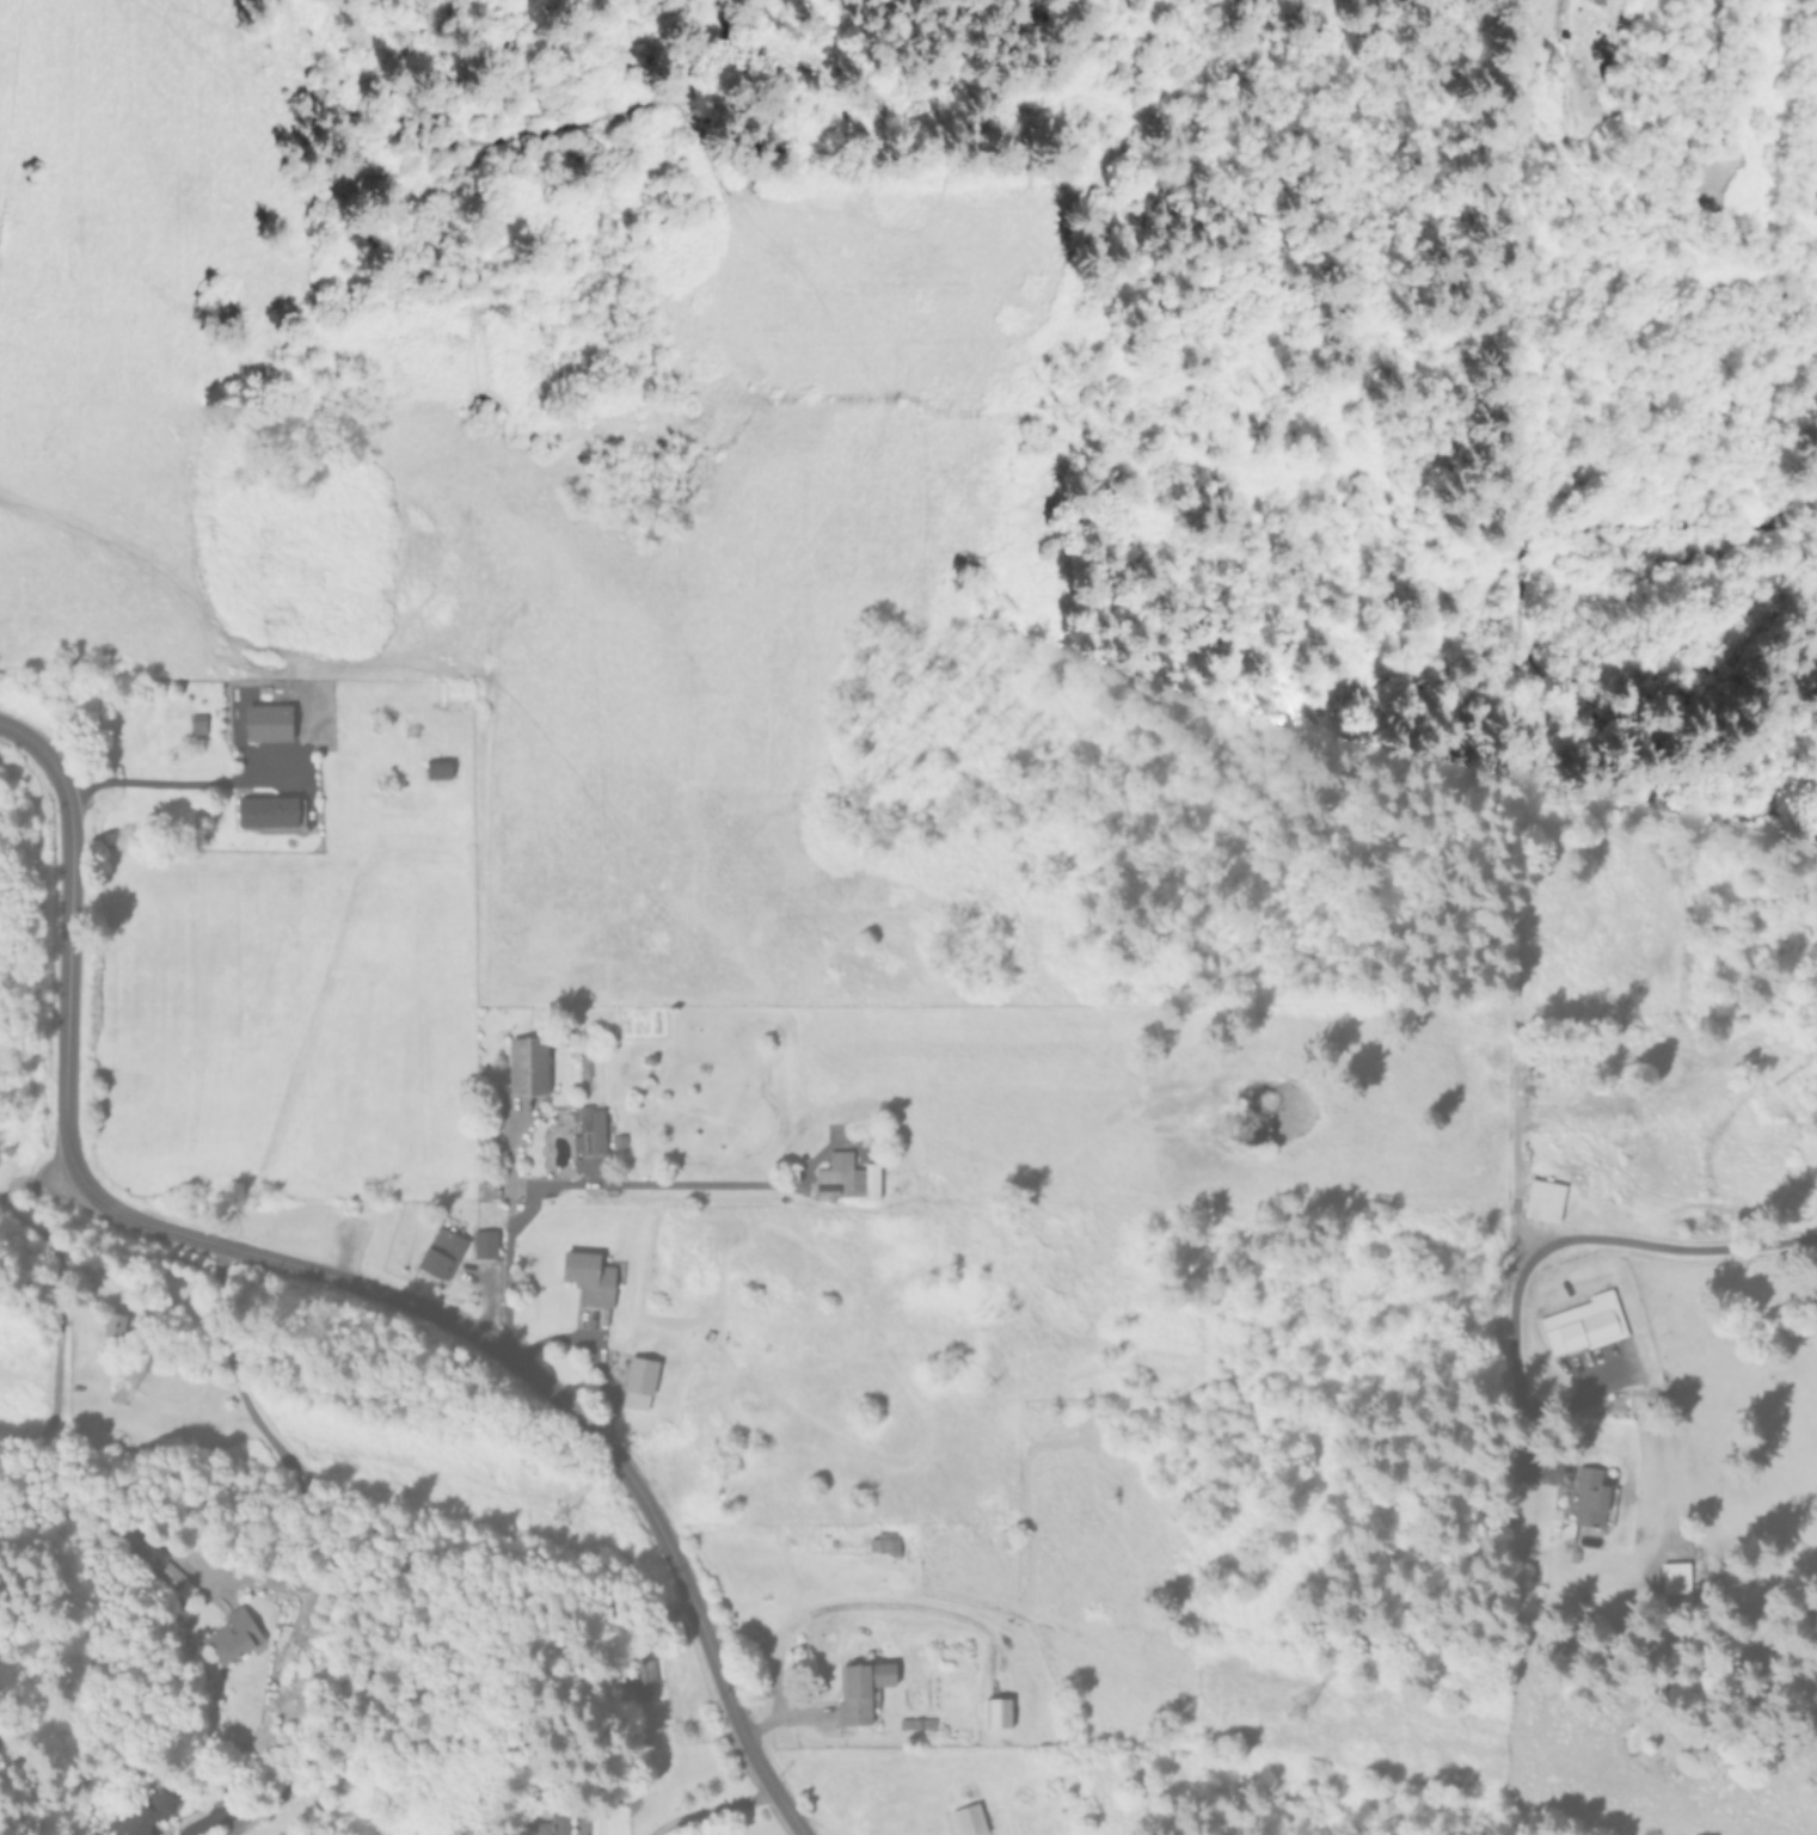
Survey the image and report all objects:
building: (266, 722)
building: (196, 723)
road: (30, 735)
building: (436, 768)
road: (152, 783)
building: (269, 810)
road: (68, 958)
building: (526, 1066)
building: (845, 1178)
road: (573, 1180)
building: (486, 1187)
building: (1541, 1199)
road: (1573, 1238)
building: (484, 1242)
building: (438, 1252)
road: (57, 1266)
building: (587, 1277)
building: (112, 1324)
building: (1583, 1324)
road: (541, 1381)
building: (637, 1382)
power tower: (113, 1403)
building: (1588, 1497)
power tower: (551, 1522)
road: (368, 1533)
building: (890, 1544)
building: (158, 1564)
building: (232, 1635)
building: (638, 1676)
building: (859, 1689)
power tower: (1290, 1717)
building: (915, 1723)
road: (713, 1809)
building: (145, 1813)
road: (214, 1815)
building: (966, 1819)
building: (553, 1824)

